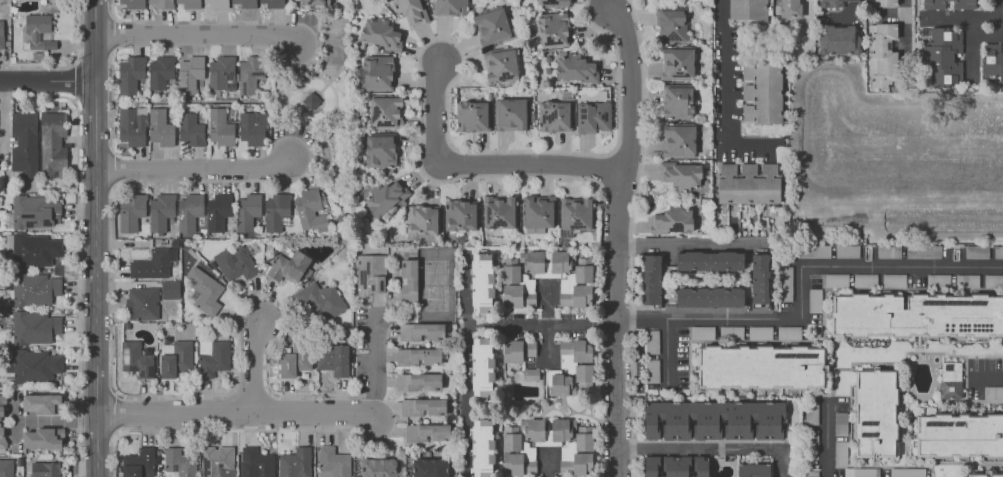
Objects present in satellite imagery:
building: (311, 2)
building: (550, 2)
building: (882, 2)
building: (133, 3)
building: (159, 3)
building: (187, 3)
building: (217, 3)
building: (245, 3)
building: (271, 3)
building: (829, 3)
building: (933, 4)
building: (964, 4)
building: (450, 7)
building: (789, 8)
building: (748, 10)
building: (410, 11)
road: (807, 14)
road: (962, 16)
road: (1002, 16)
road: (204, 22)
building: (671, 24)
road: (907, 25)
building: (491, 26)
building: (552, 29)
building: (38, 31)
building: (379, 33)
building: (1, 34)
road: (113, 34)
road: (198, 34)
building: (836, 38)
building: (881, 55)
building: (941, 57)
building: (992, 60)
road: (68, 61)
building: (677, 63)
building: (500, 65)
building: (574, 68)
building: (160, 71)
building: (378, 72)
building: (189, 73)
building: (221, 73)
building: (249, 73)
building: (129, 74)
road: (75, 80)
road: (48, 81)
building: (762, 91)
road: (112, 100)
building: (677, 100)
building: (311, 101)
road: (727, 101)
building: (385, 111)
building: (510, 114)
building: (472, 116)
building: (553, 116)
building: (592, 116)
building: (132, 126)
building: (160, 127)
building: (220, 127)
building: (252, 128)
building: (191, 130)
building: (678, 140)
building: (24, 143)
building: (54, 143)
building: (379, 150)
road: (480, 164)
road: (112, 167)
road: (196, 168)
building: (681, 174)
building: (747, 183)
building: (386, 195)
building: (275, 210)
building: (311, 210)
building: (35, 211)
building: (131, 211)
building: (160, 211)
building: (189, 211)
building: (218, 211)
building: (247, 211)
building: (499, 211)
building: (537, 211)
building: (576, 213)
building: (460, 215)
building: (422, 220)
building: (672, 220)
road: (98, 238)
road: (619, 241)
road: (693, 246)
building: (35, 249)
road: (78, 250)
building: (813, 251)
building: (847, 251)
building: (889, 251)
building: (923, 252)
building: (976, 252)
building: (998, 252)
building: (709, 260)
building: (532, 261)
building: (235, 262)
building: (559, 262)
building: (153, 263)
building: (288, 266)
building: (370, 274)
building: (759, 278)
building: (651, 279)
building: (408, 280)
building: (836, 280)
building: (865, 280)
building: (894, 280)
building: (938, 280)
building: (971, 280)
building: (993, 281)
building: (481, 282)
building: (514, 283)
building: (785, 283)
road: (801, 283)
building: (577, 285)
building: (34, 288)
building: (169, 289)
building: (204, 290)
building: (708, 296)
building: (529, 300)
building: (814, 300)
building: (321, 301)
building: (142, 303)
building: (917, 315)
road: (508, 322)
building: (34, 327)
building: (420, 331)
building: (731, 331)
building: (702, 332)
building: (760, 332)
building: (789, 332)
building: (652, 341)
building: (518, 350)
road: (667, 351)
building: (213, 356)
building: (418, 356)
building: (174, 357)
building: (333, 358)
building: (136, 359)
building: (294, 360)
road: (377, 362)
building: (34, 365)
road: (254, 365)
building: (482, 367)
building: (761, 367)
building: (573, 368)
building: (652, 371)
building: (530, 374)
road: (988, 378)
building: (417, 380)
building: (950, 380)
building: (993, 393)
road: (147, 395)
road: (467, 400)
building: (40, 403)
building: (422, 406)
building: (2, 407)
road: (115, 412)
road: (238, 413)
building: (875, 414)
building: (811, 417)
building: (714, 420)
road: (56, 422)
building: (840, 424)
road: (232, 429)
building: (426, 432)
building: (2, 435)
building: (959, 435)
building: (42, 438)
road: (827, 438)
building: (813, 444)
building: (576, 446)
building: (482, 448)
road: (711, 448)
building: (840, 452)
road: (113, 454)
building: (216, 461)
building: (179, 462)
building: (255, 462)
building: (333, 462)
road: (547, 462)
building: (138, 463)
building: (295, 463)
building: (676, 466)
building: (6, 467)
building: (378, 467)
building: (429, 467)
building: (45, 469)
building: (753, 470)
building: (861, 472)
building: (907, 472)
building: (811, 474)
building: (985, 475)

